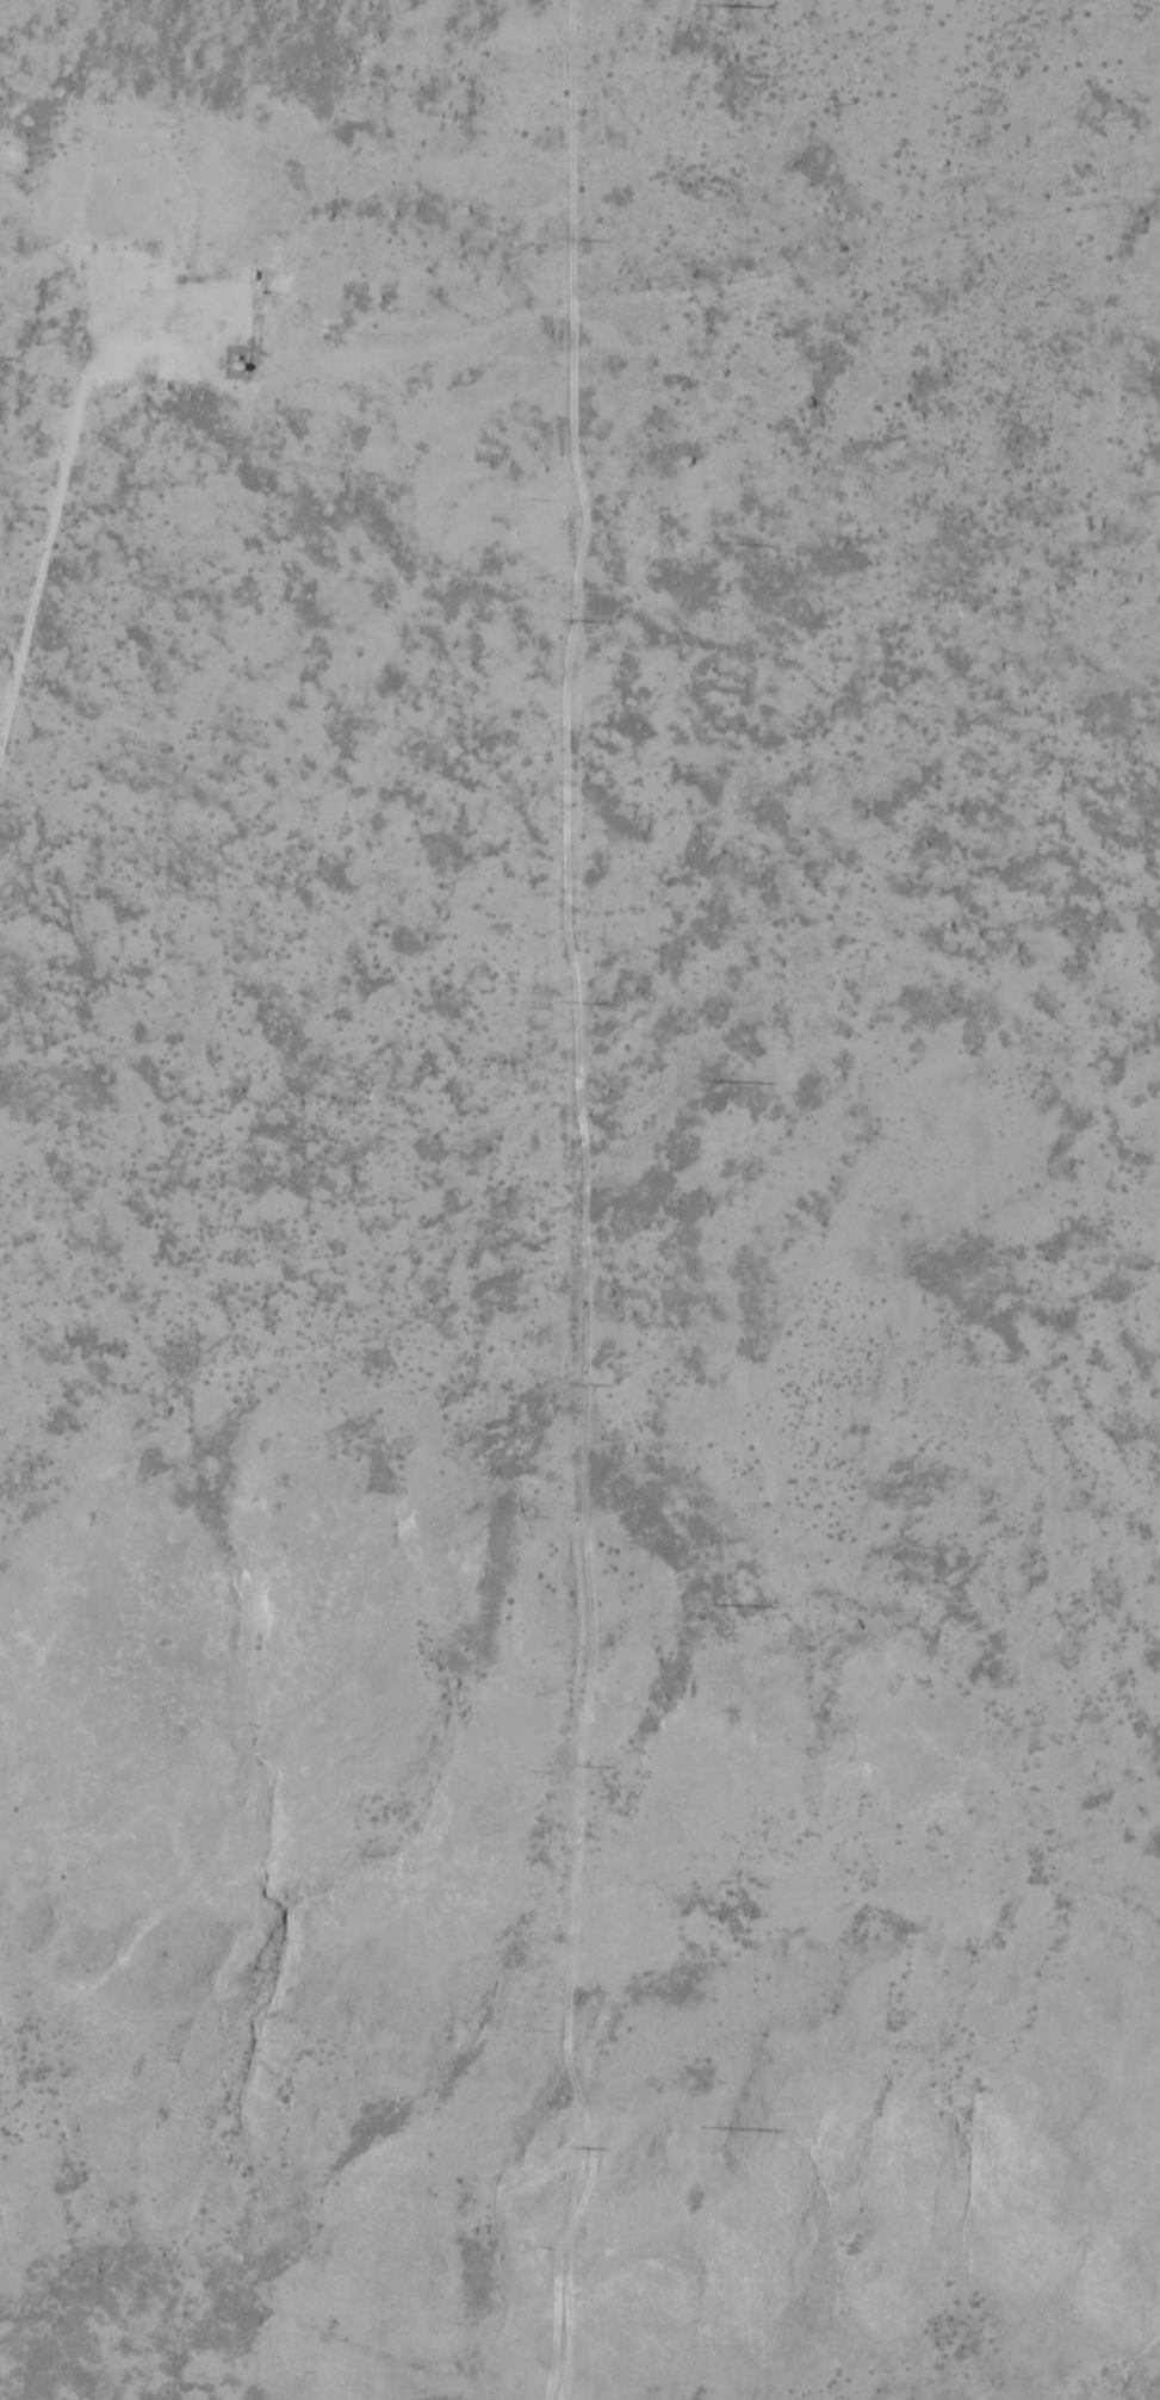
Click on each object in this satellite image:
power tower: (703, 4)
power tower: (559, 235)
road: (62, 498)
power tower: (701, 545)
power tower: (559, 620)
power tower: (559, 1001)
power tower: (705, 1081)
power tower: (567, 1378)
power tower: (705, 1605)
power tower: (563, 1763)
power tower: (705, 2128)
power tower: (565, 2146)

